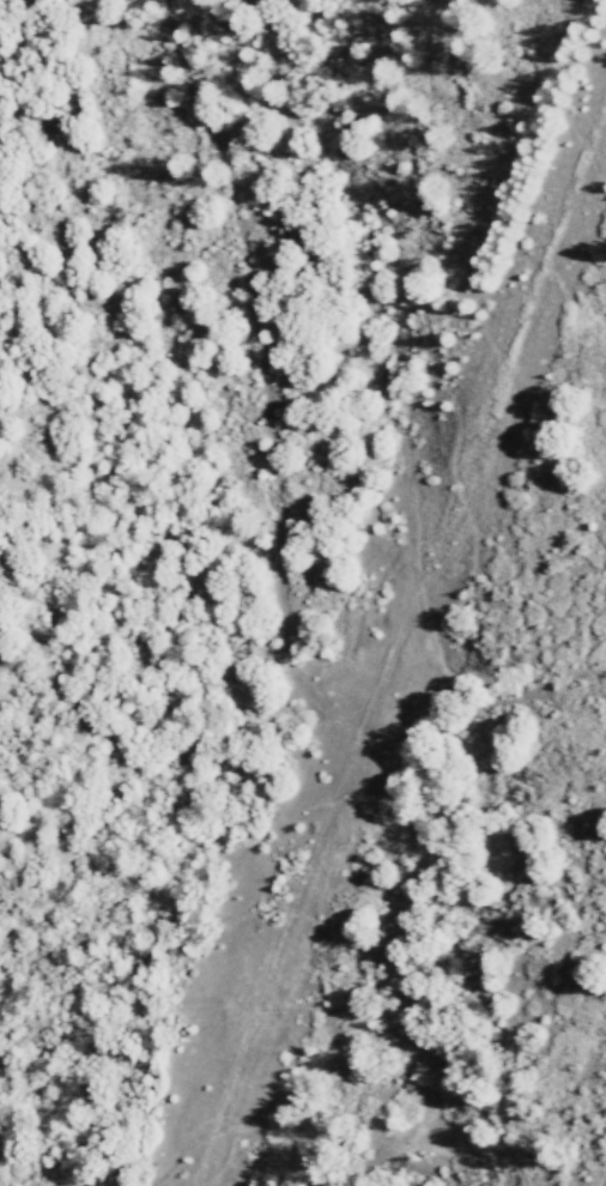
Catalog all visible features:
road: (261, 309)

